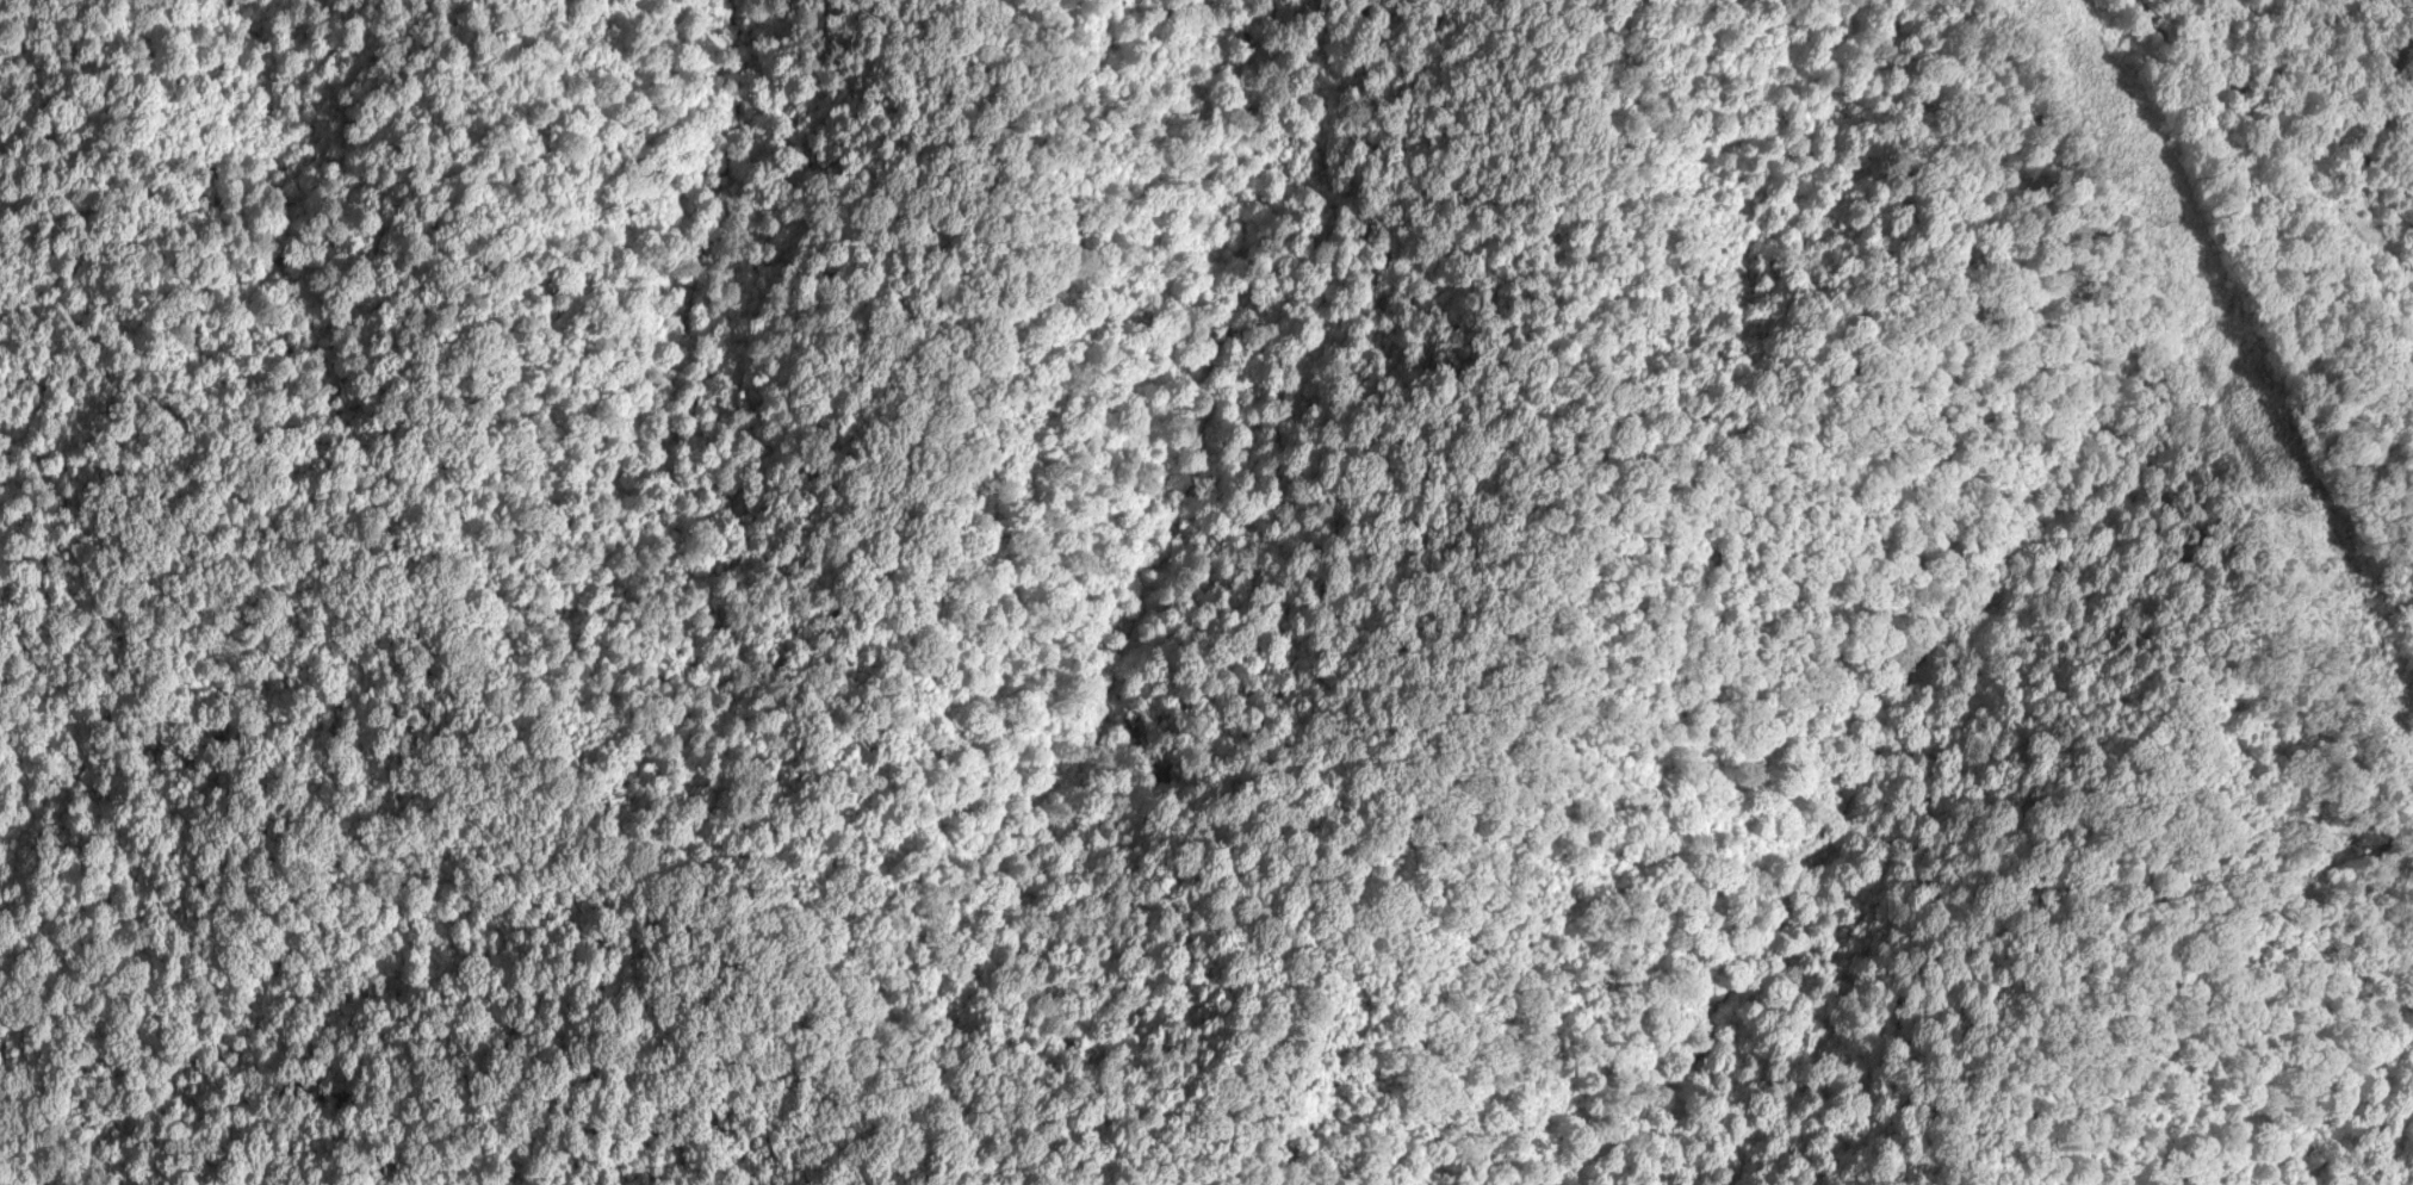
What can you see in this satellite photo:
road: (2297, 93)

